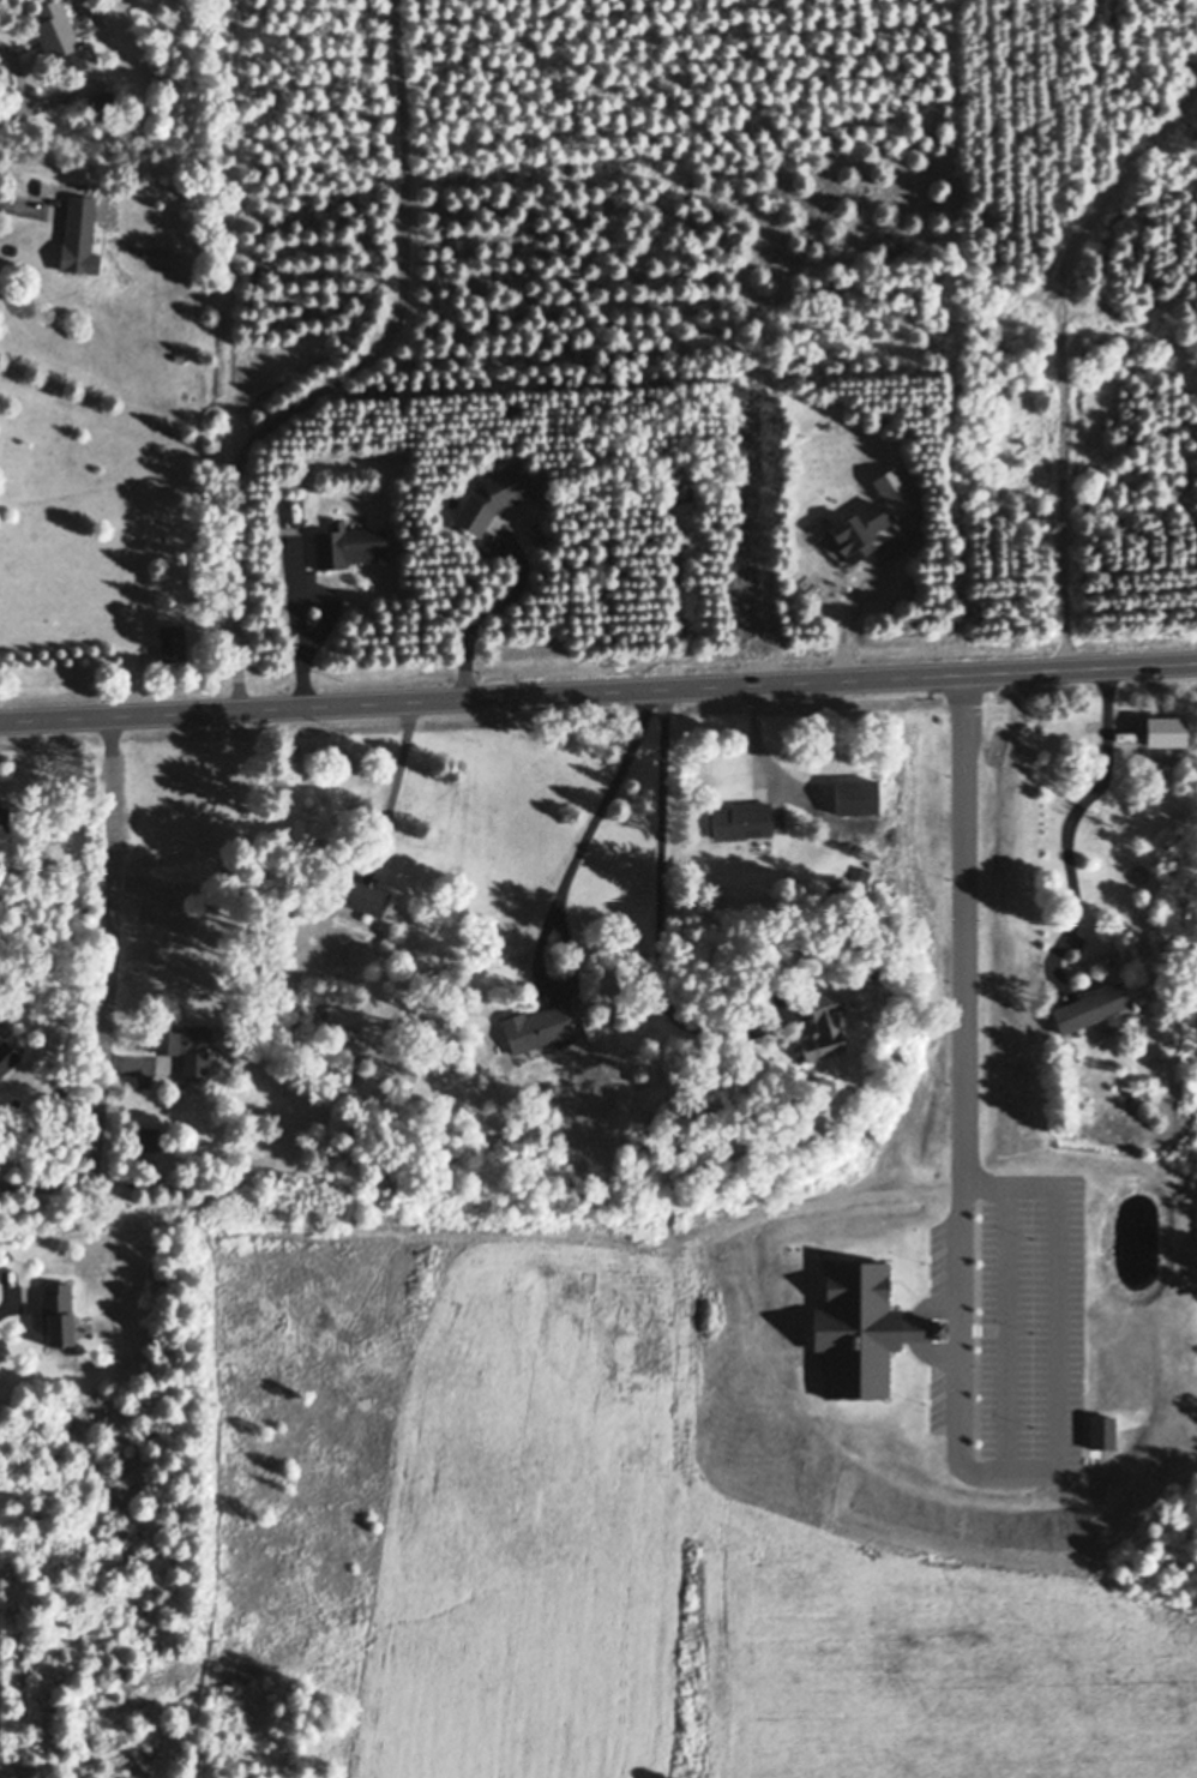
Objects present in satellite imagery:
building: (61, 34)
building: (104, 104)
building: (78, 233)
road: (349, 372)
building: (495, 495)
building: (859, 530)
building: (349, 545)
road: (489, 613)
building: (173, 641)
road: (598, 695)
road: (766, 751)
road: (393, 785)
building: (775, 793)
building: (856, 795)
building: (744, 819)
road: (1077, 819)
building: (5, 822)
road: (601, 822)
building: (305, 834)
building: (865, 875)
building: (365, 899)
road: (670, 899)
building: (862, 977)
road: (116, 1001)
building: (1097, 1005)
building: (824, 1027)
building: (539, 1028)
building: (186, 1047)
building: (7, 1057)
building: (639, 1068)
building: (146, 1139)
road: (1065, 1208)
road: (4, 1314)
building: (58, 1314)

